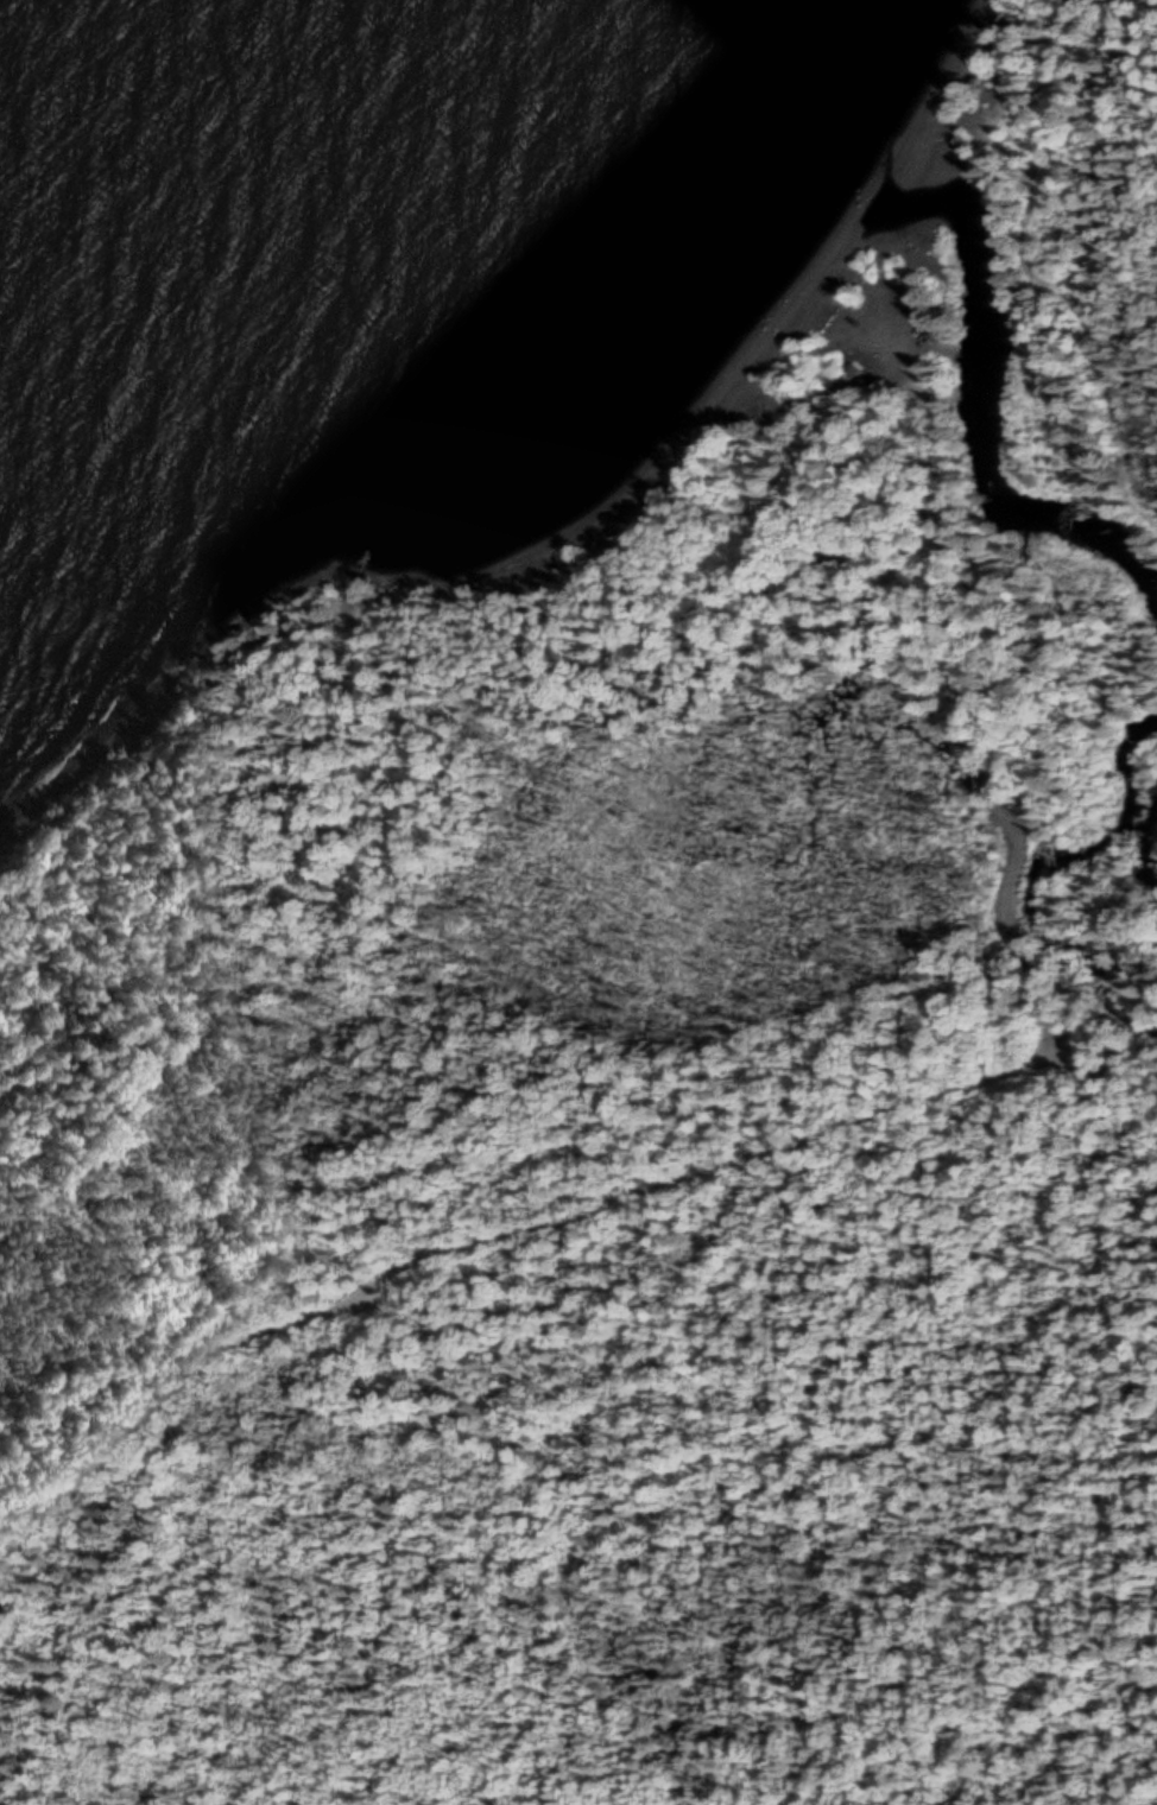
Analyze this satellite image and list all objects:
river: (980, 376)
park: (712, 671)
road: (982, 741)
river: (1056, 880)
road: (511, 1235)
road: (1156, 1804)

